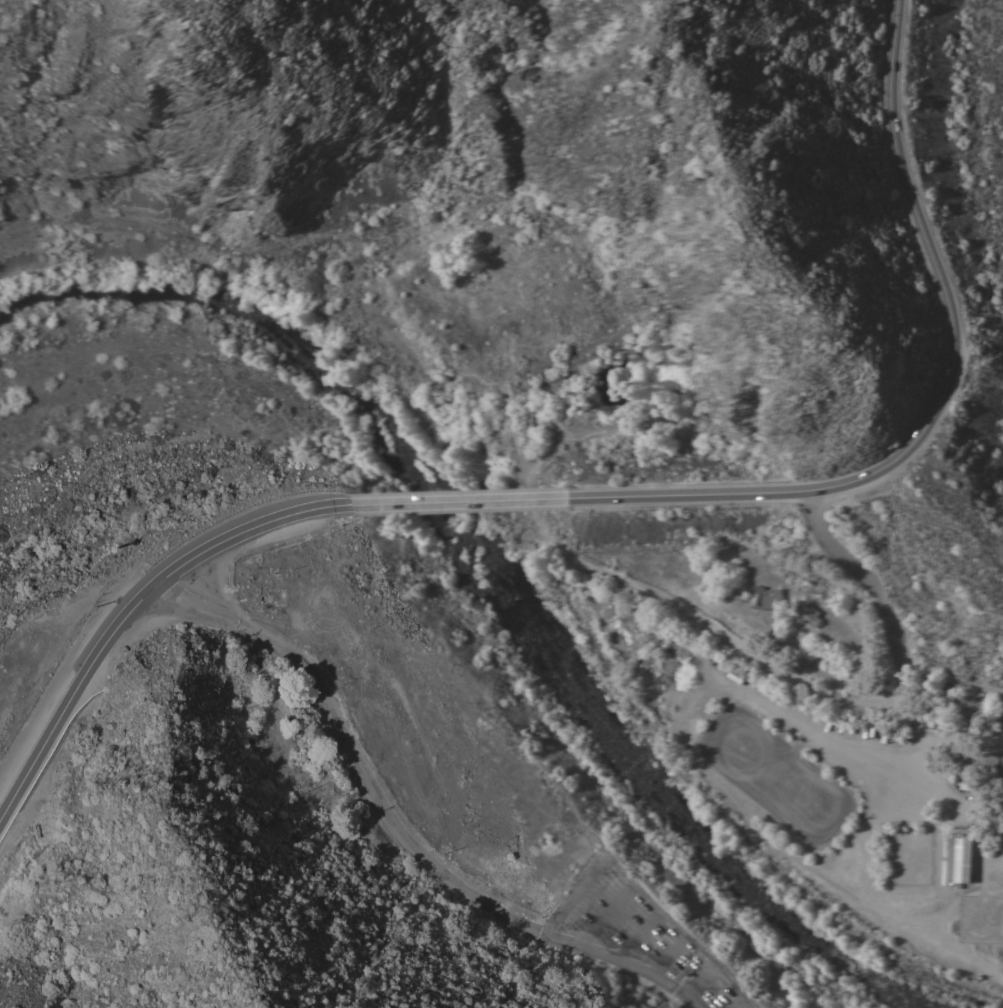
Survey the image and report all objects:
road: (895, 147)
road: (832, 486)
road: (461, 501)
river: (491, 571)
road: (652, 591)
building: (757, 595)
road: (883, 599)
building: (774, 600)
road: (132, 607)
building: (808, 613)
building: (976, 703)
building: (948, 708)
building: (931, 711)
road: (963, 734)
road: (923, 735)
building: (990, 763)
building: (970, 782)
road: (955, 793)
road: (392, 825)
building: (960, 859)

